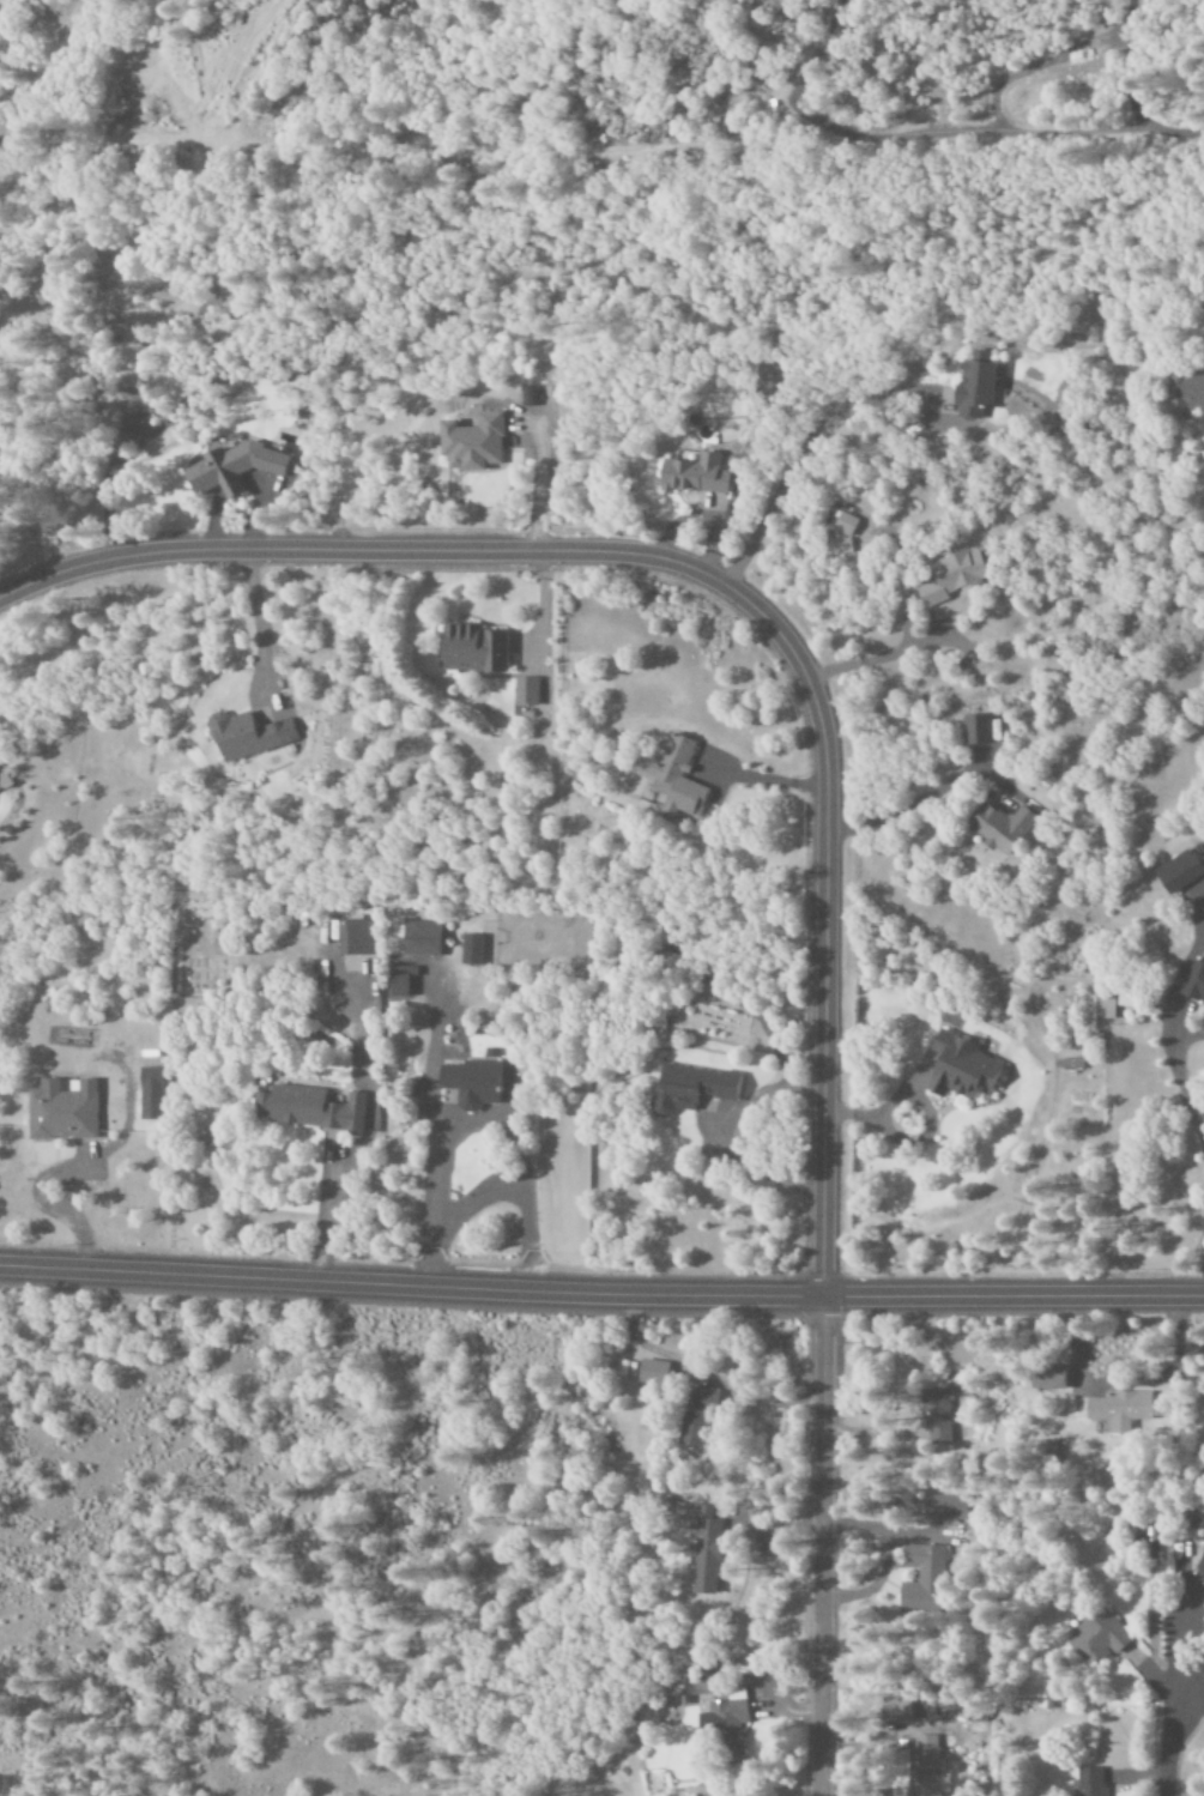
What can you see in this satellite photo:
road: (1173, 132)
building: (972, 389)
building: (1184, 393)
building: (470, 442)
building: (231, 467)
building: (691, 474)
building: (842, 524)
building: (840, 546)
building: (951, 576)
road: (727, 588)
building: (471, 649)
building: (522, 693)
building: (975, 728)
building: (246, 736)
building: (671, 778)
building: (2, 781)
building: (998, 827)
building: (1176, 871)
building: (351, 937)
building: (419, 939)
building: (468, 950)
building: (397, 980)
building: (1193, 984)
building: (958, 1069)
building: (147, 1075)
building: (470, 1083)
building: (688, 1088)
building: (307, 1108)
building: (60, 1111)
road: (601, 1293)
building: (651, 1372)
building: (1046, 1375)
building: (1118, 1407)
building: (933, 1415)
building: (691, 1417)
building: (943, 1507)
road: (821, 1547)
building: (704, 1555)
building: (920, 1578)
building: (1095, 1637)
building: (895, 1710)
building: (727, 1725)
road: (1164, 1737)
building: (924, 1767)
building: (1088, 1780)

